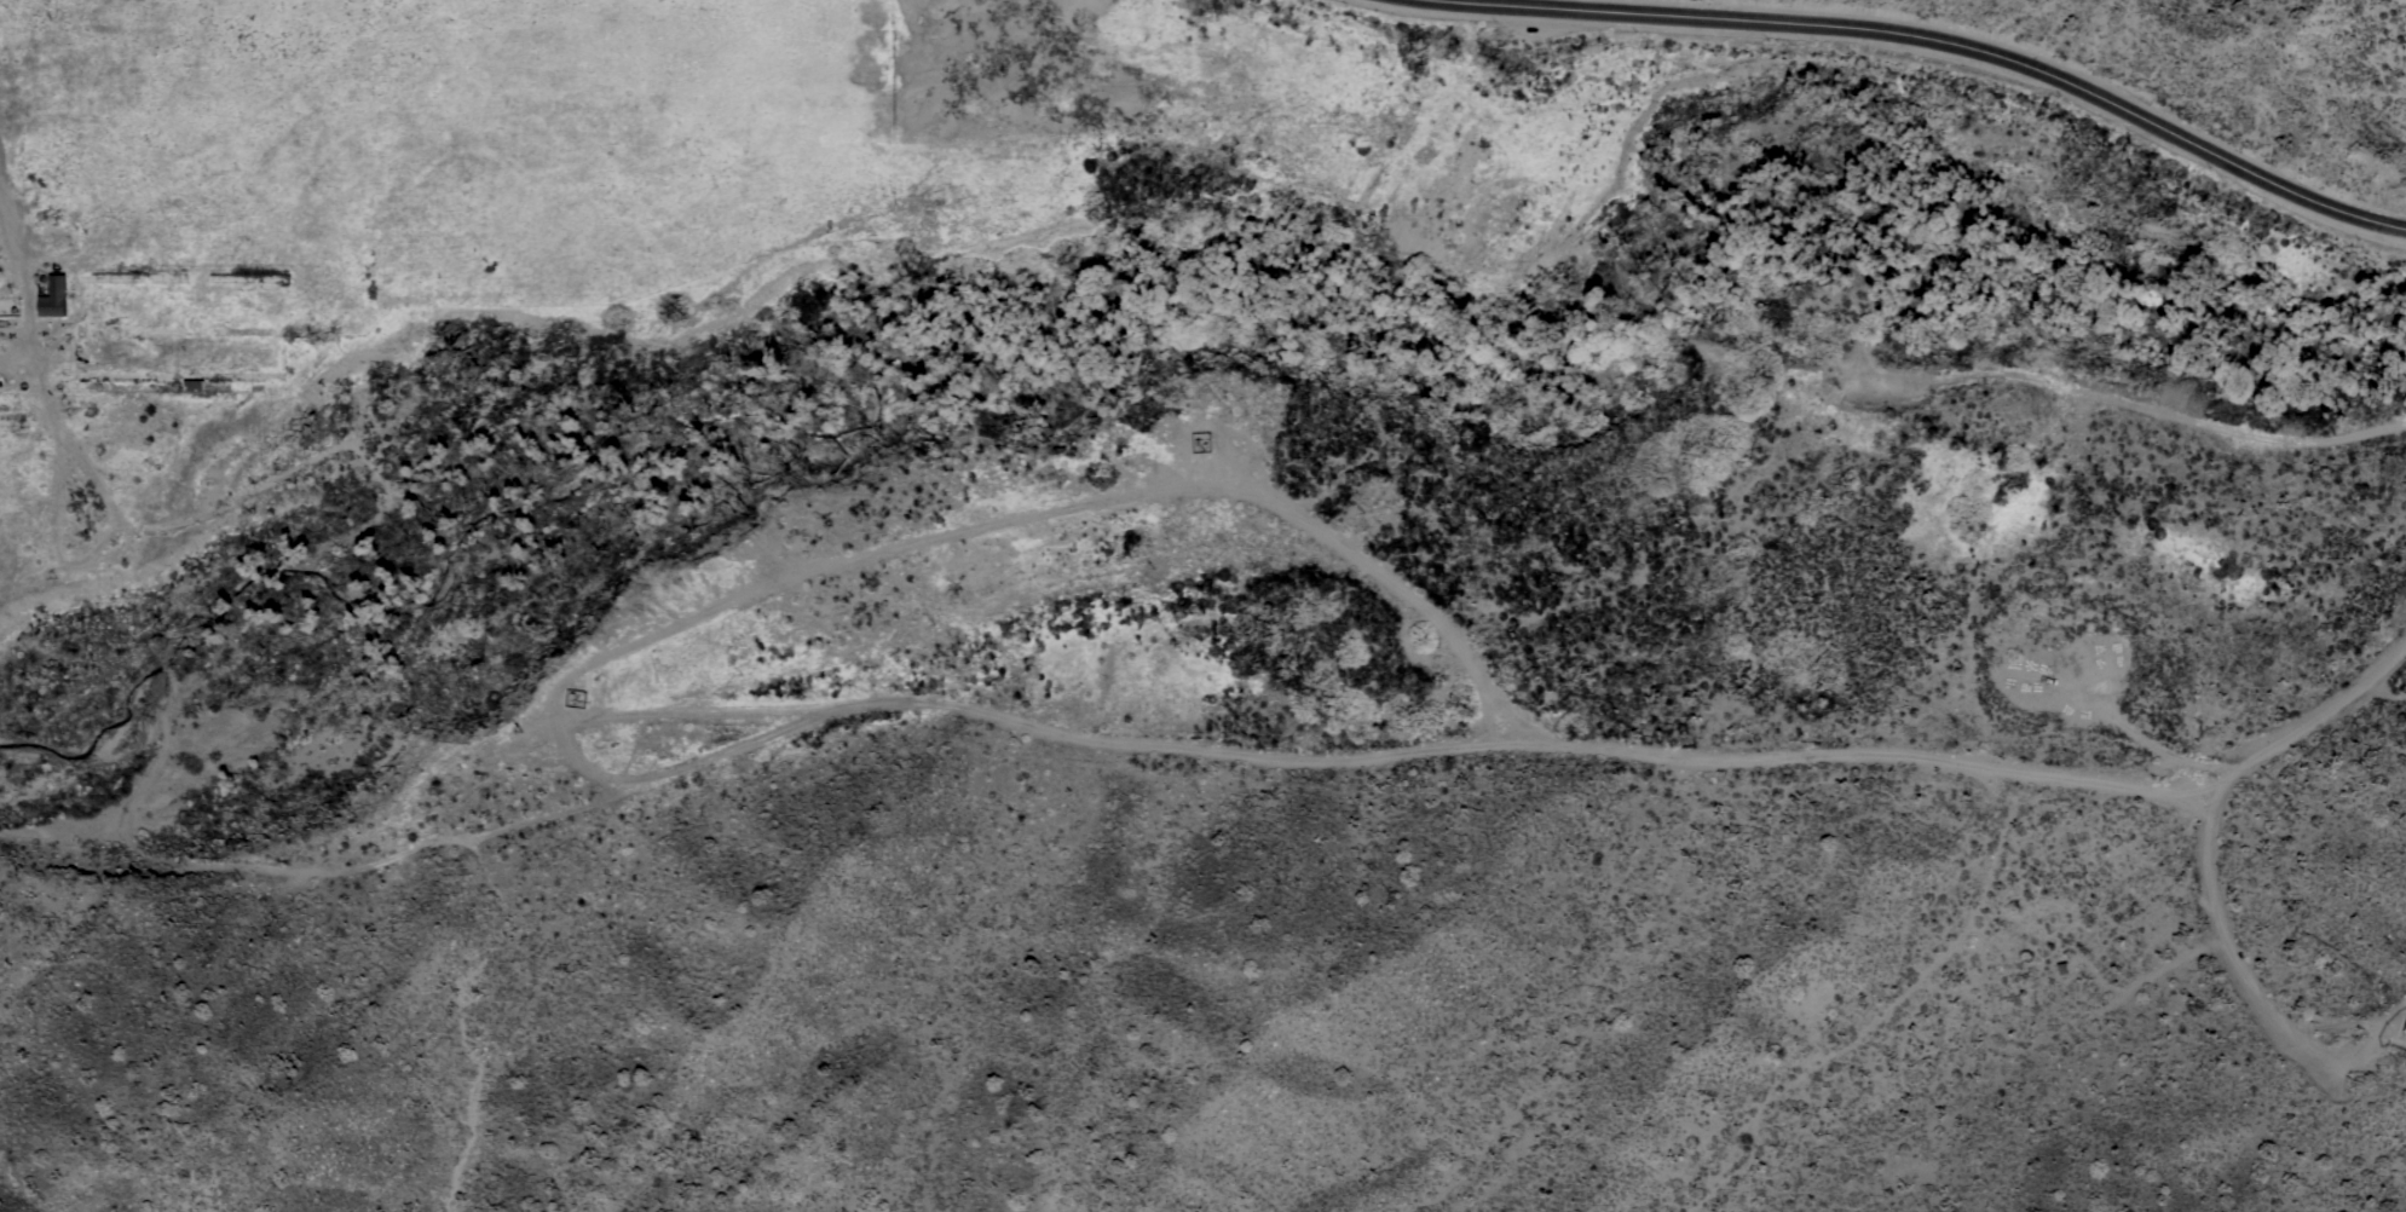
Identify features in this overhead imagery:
road: (1923, 41)
road: (1, 185)
building: (53, 296)
building: (192, 386)
road: (1258, 755)

